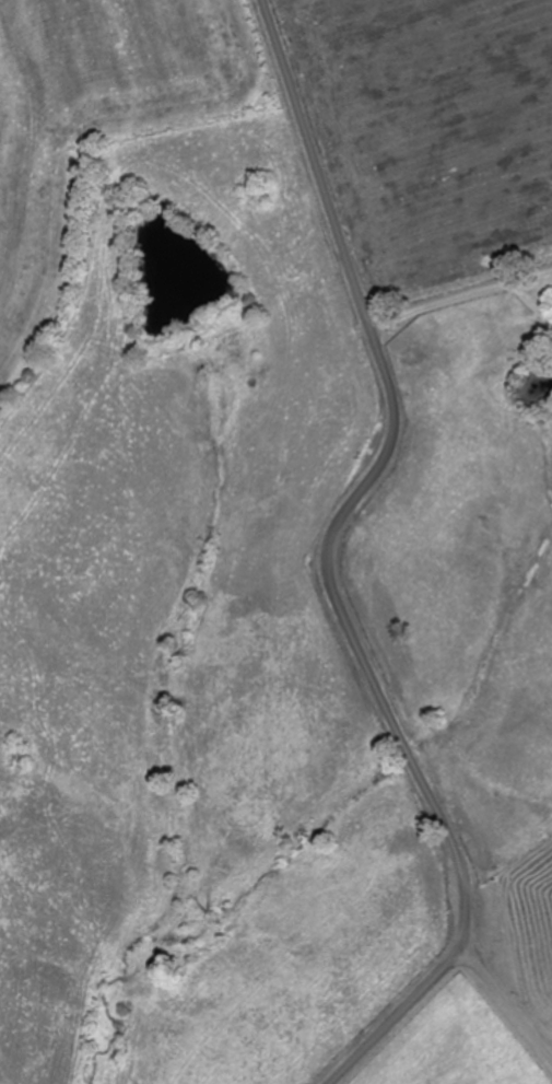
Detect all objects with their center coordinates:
road: (329, 561)
road: (455, 1039)

